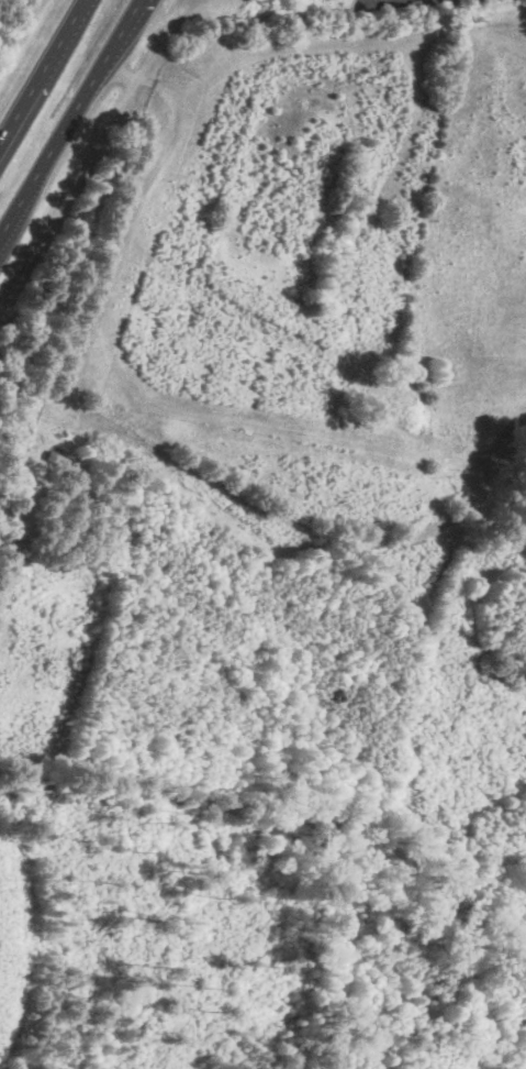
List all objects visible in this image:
road: (42, 70)
road: (69, 117)
road: (122, 405)
building: (64, 463)

